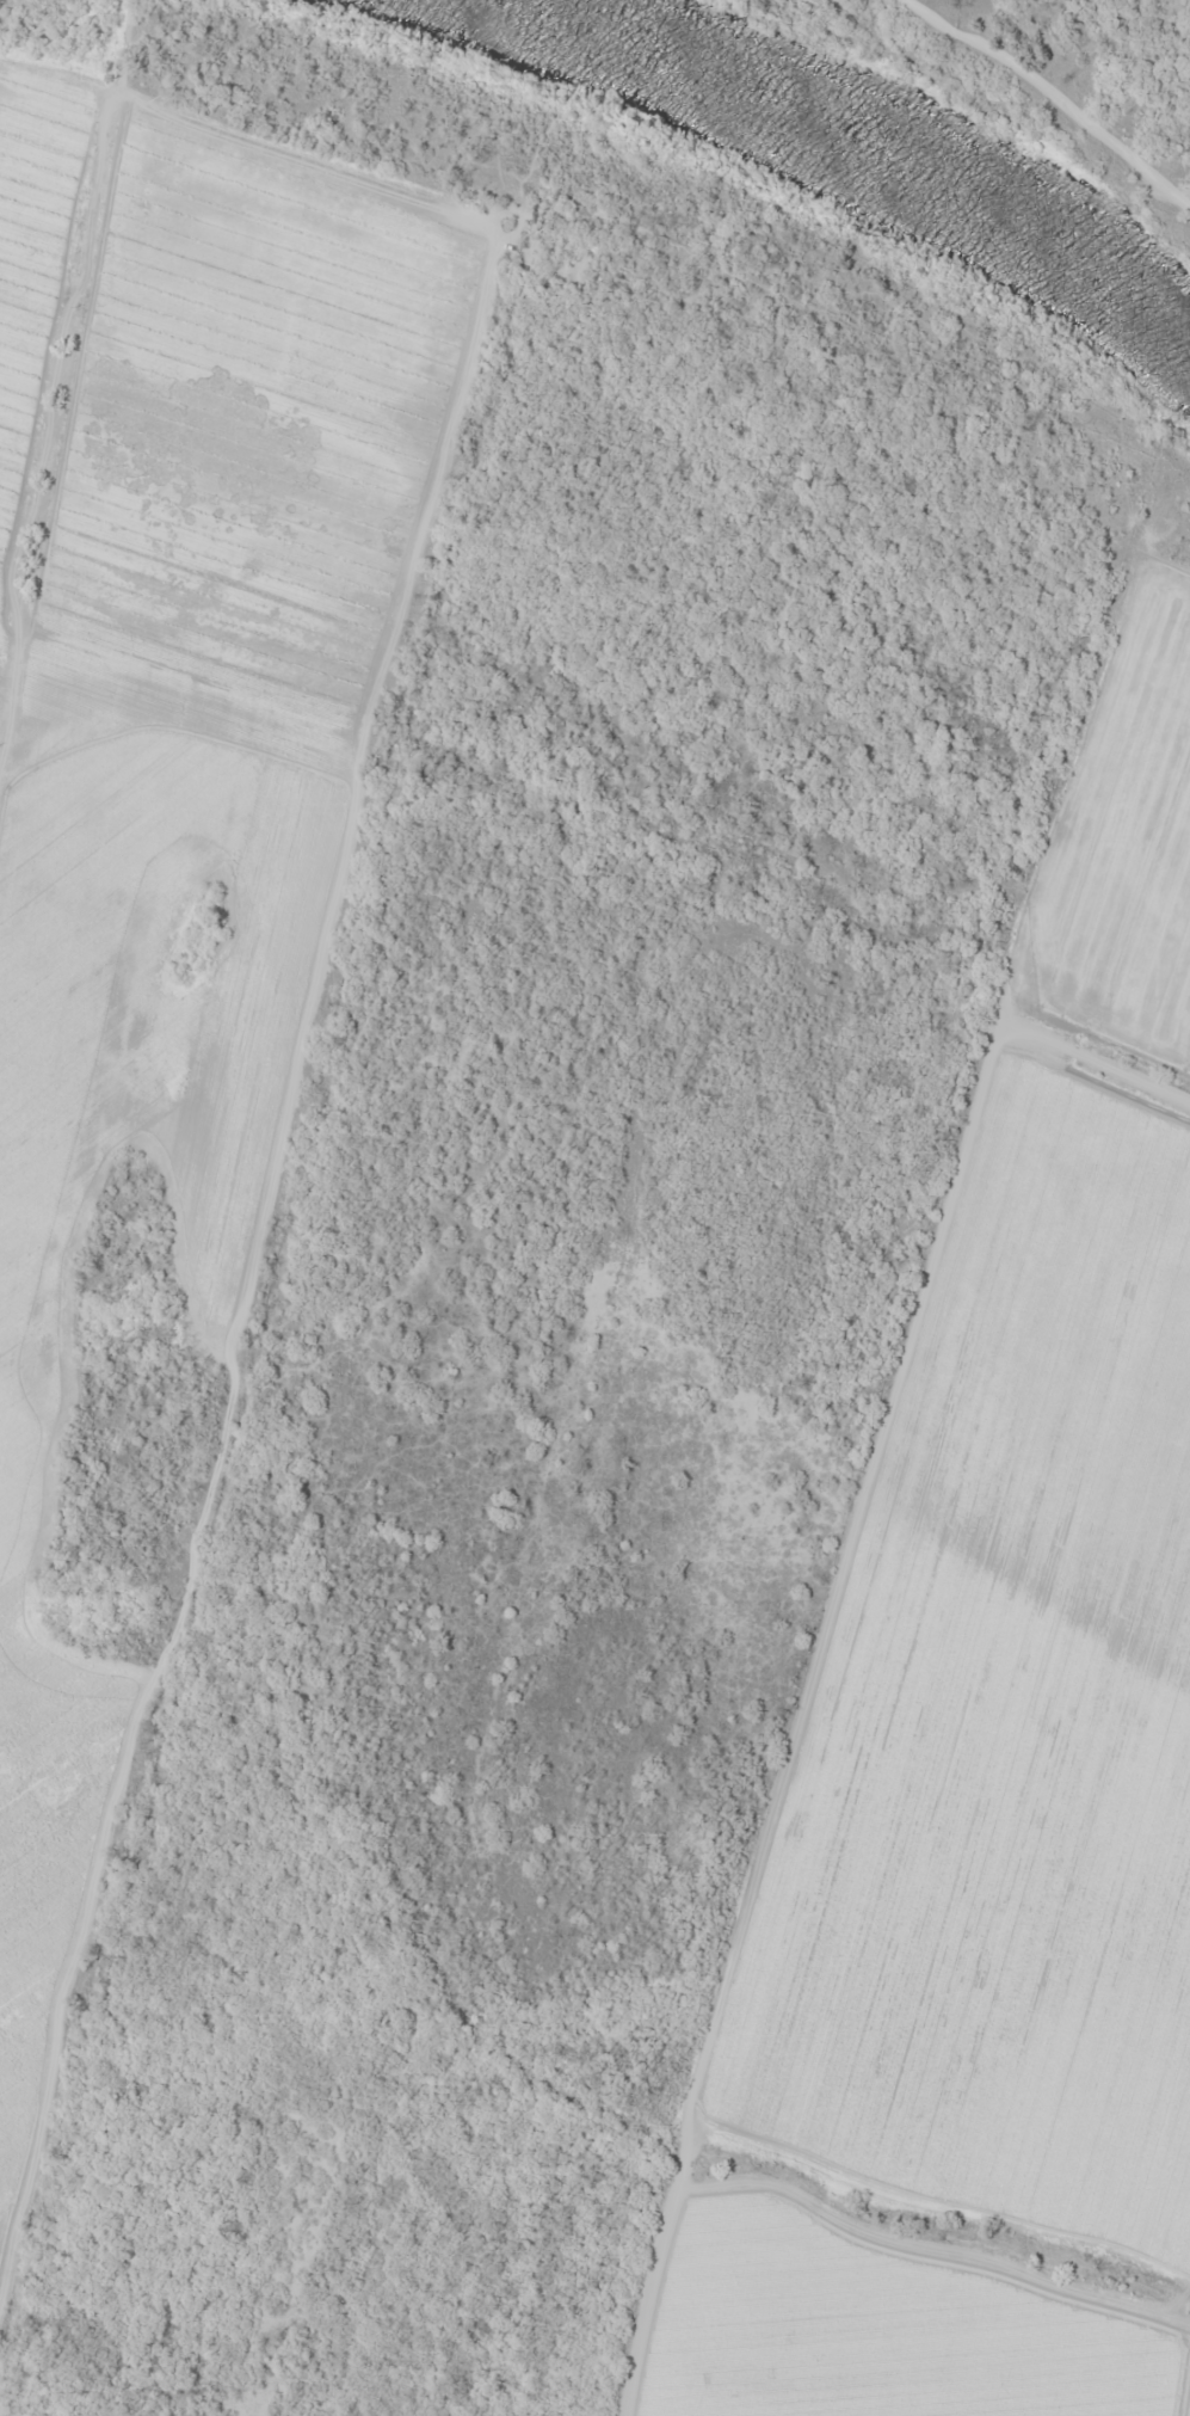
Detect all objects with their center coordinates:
river: (875, 148)

